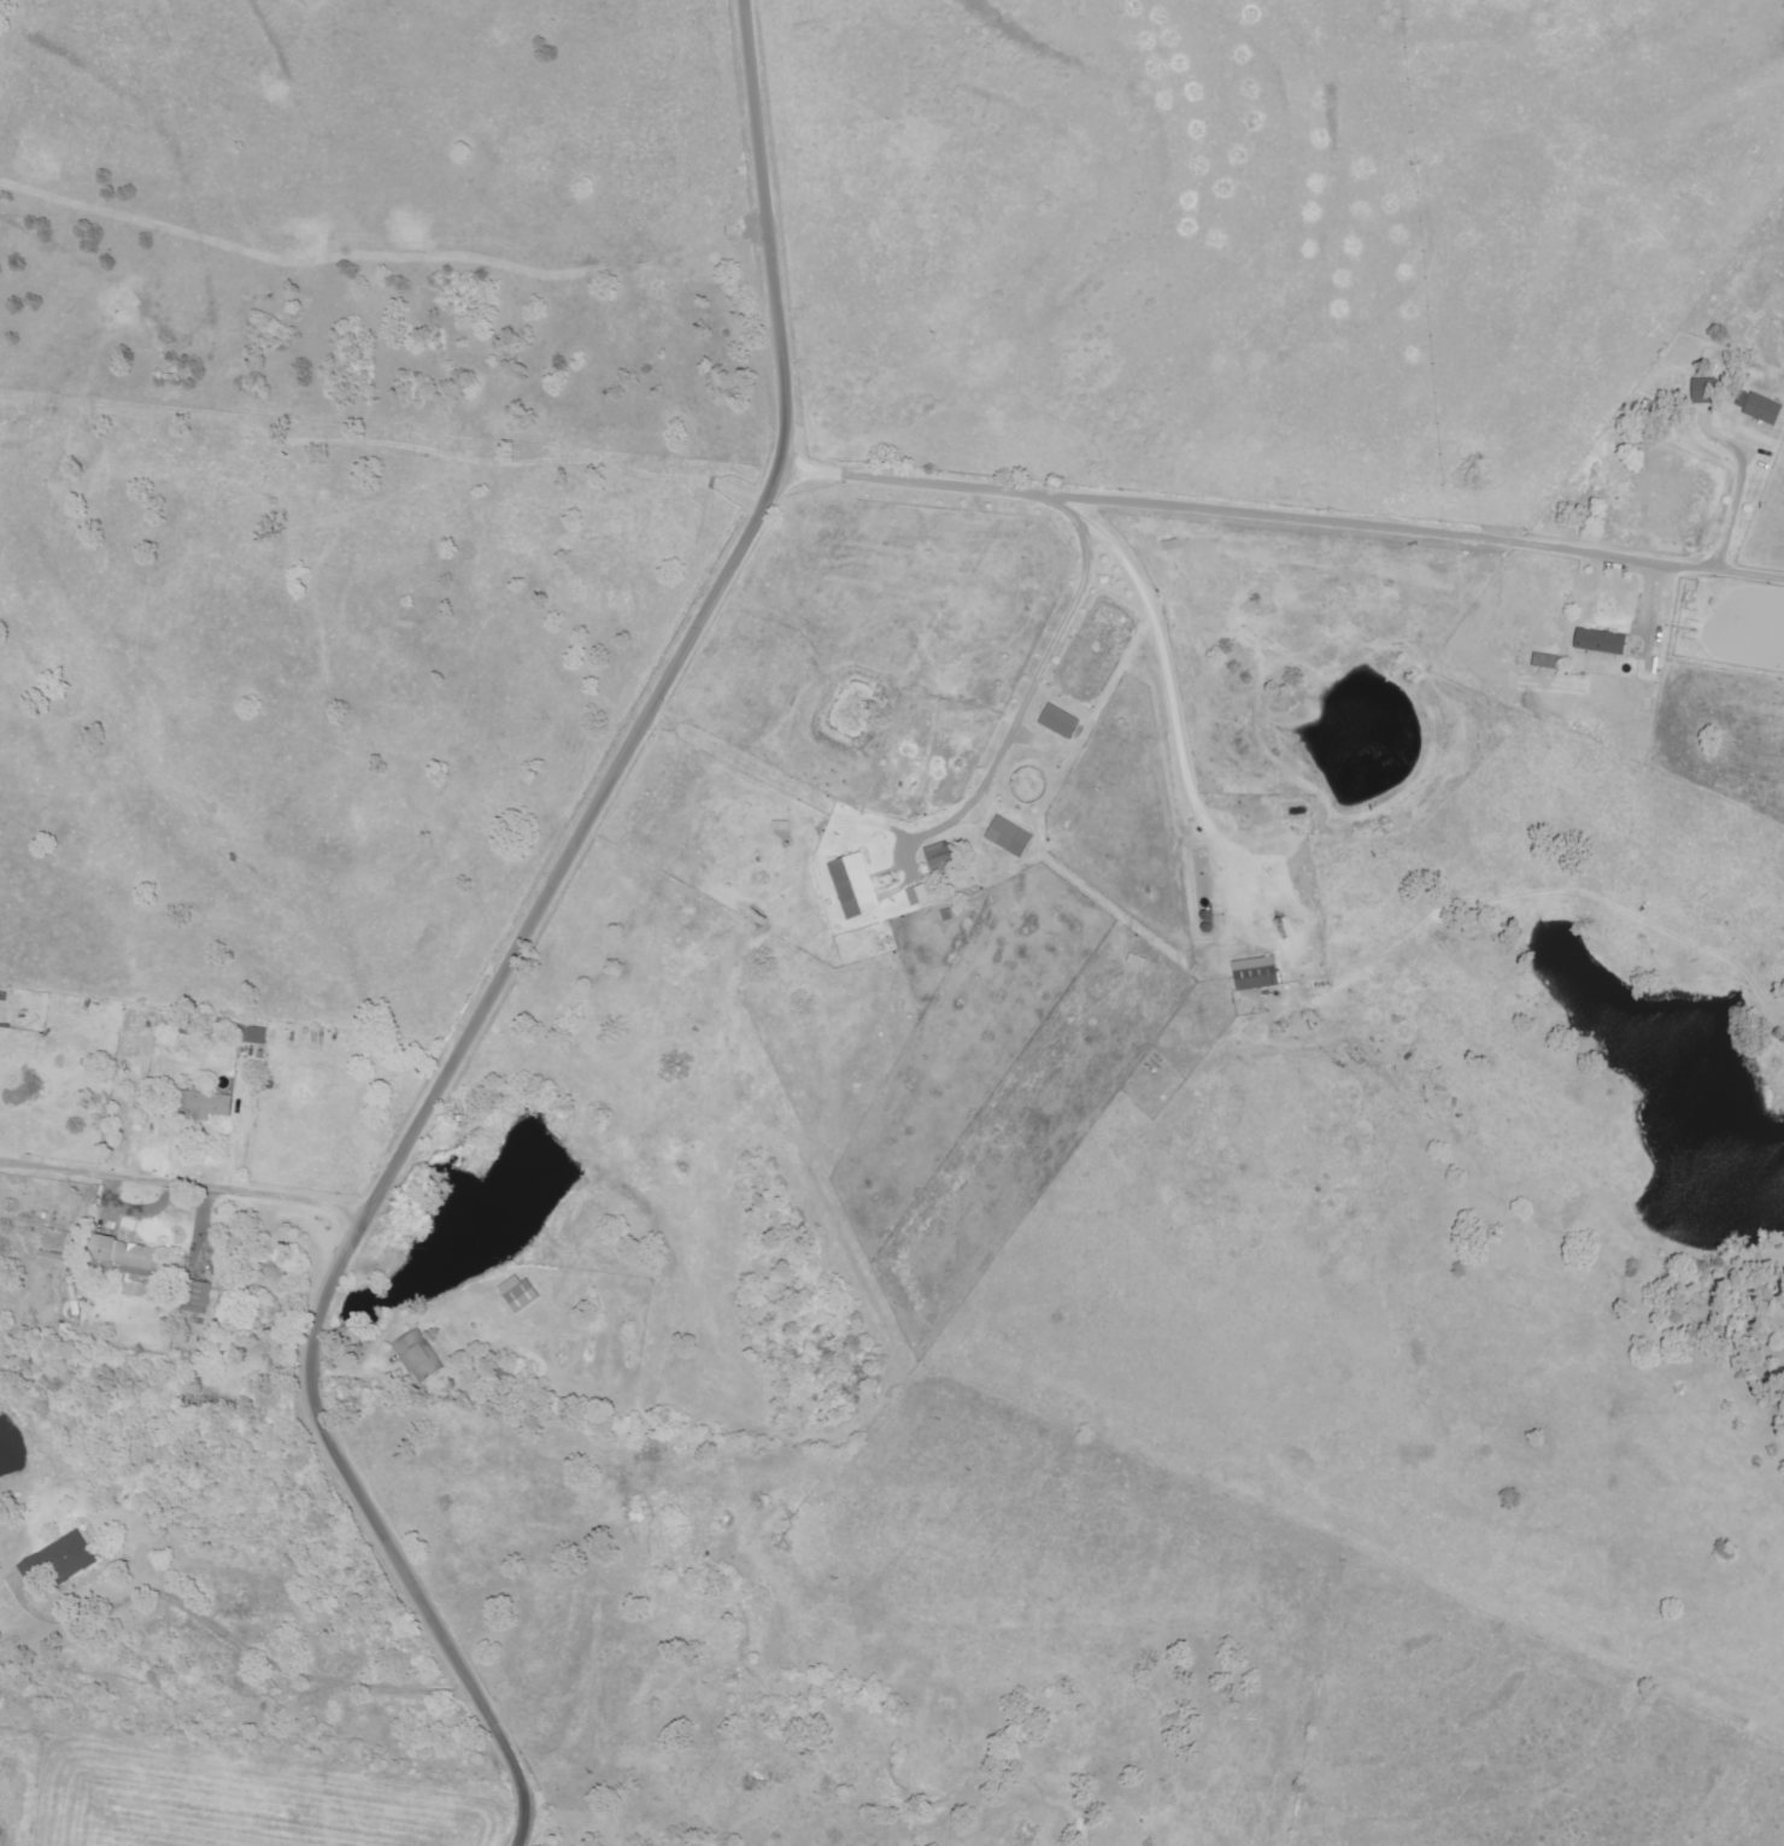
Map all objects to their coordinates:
road: (920, 39)
building: (1702, 391)
building: (1761, 409)
road: (908, 481)
road: (1410, 529)
road: (1085, 579)
building: (1598, 641)
building: (1544, 661)
road: (852, 678)
building: (1058, 721)
road: (978, 796)
building: (1008, 837)
building: (937, 855)
building: (852, 885)
building: (916, 895)
road: (518, 943)
building: (1254, 973)
building: (251, 1035)
building: (199, 1103)
road: (186, 1183)
building: (123, 1255)
building: (516, 1293)
building: (192, 1296)
building: (417, 1355)
road: (434, 1466)
building: (58, 1559)
road: (239, 1642)

